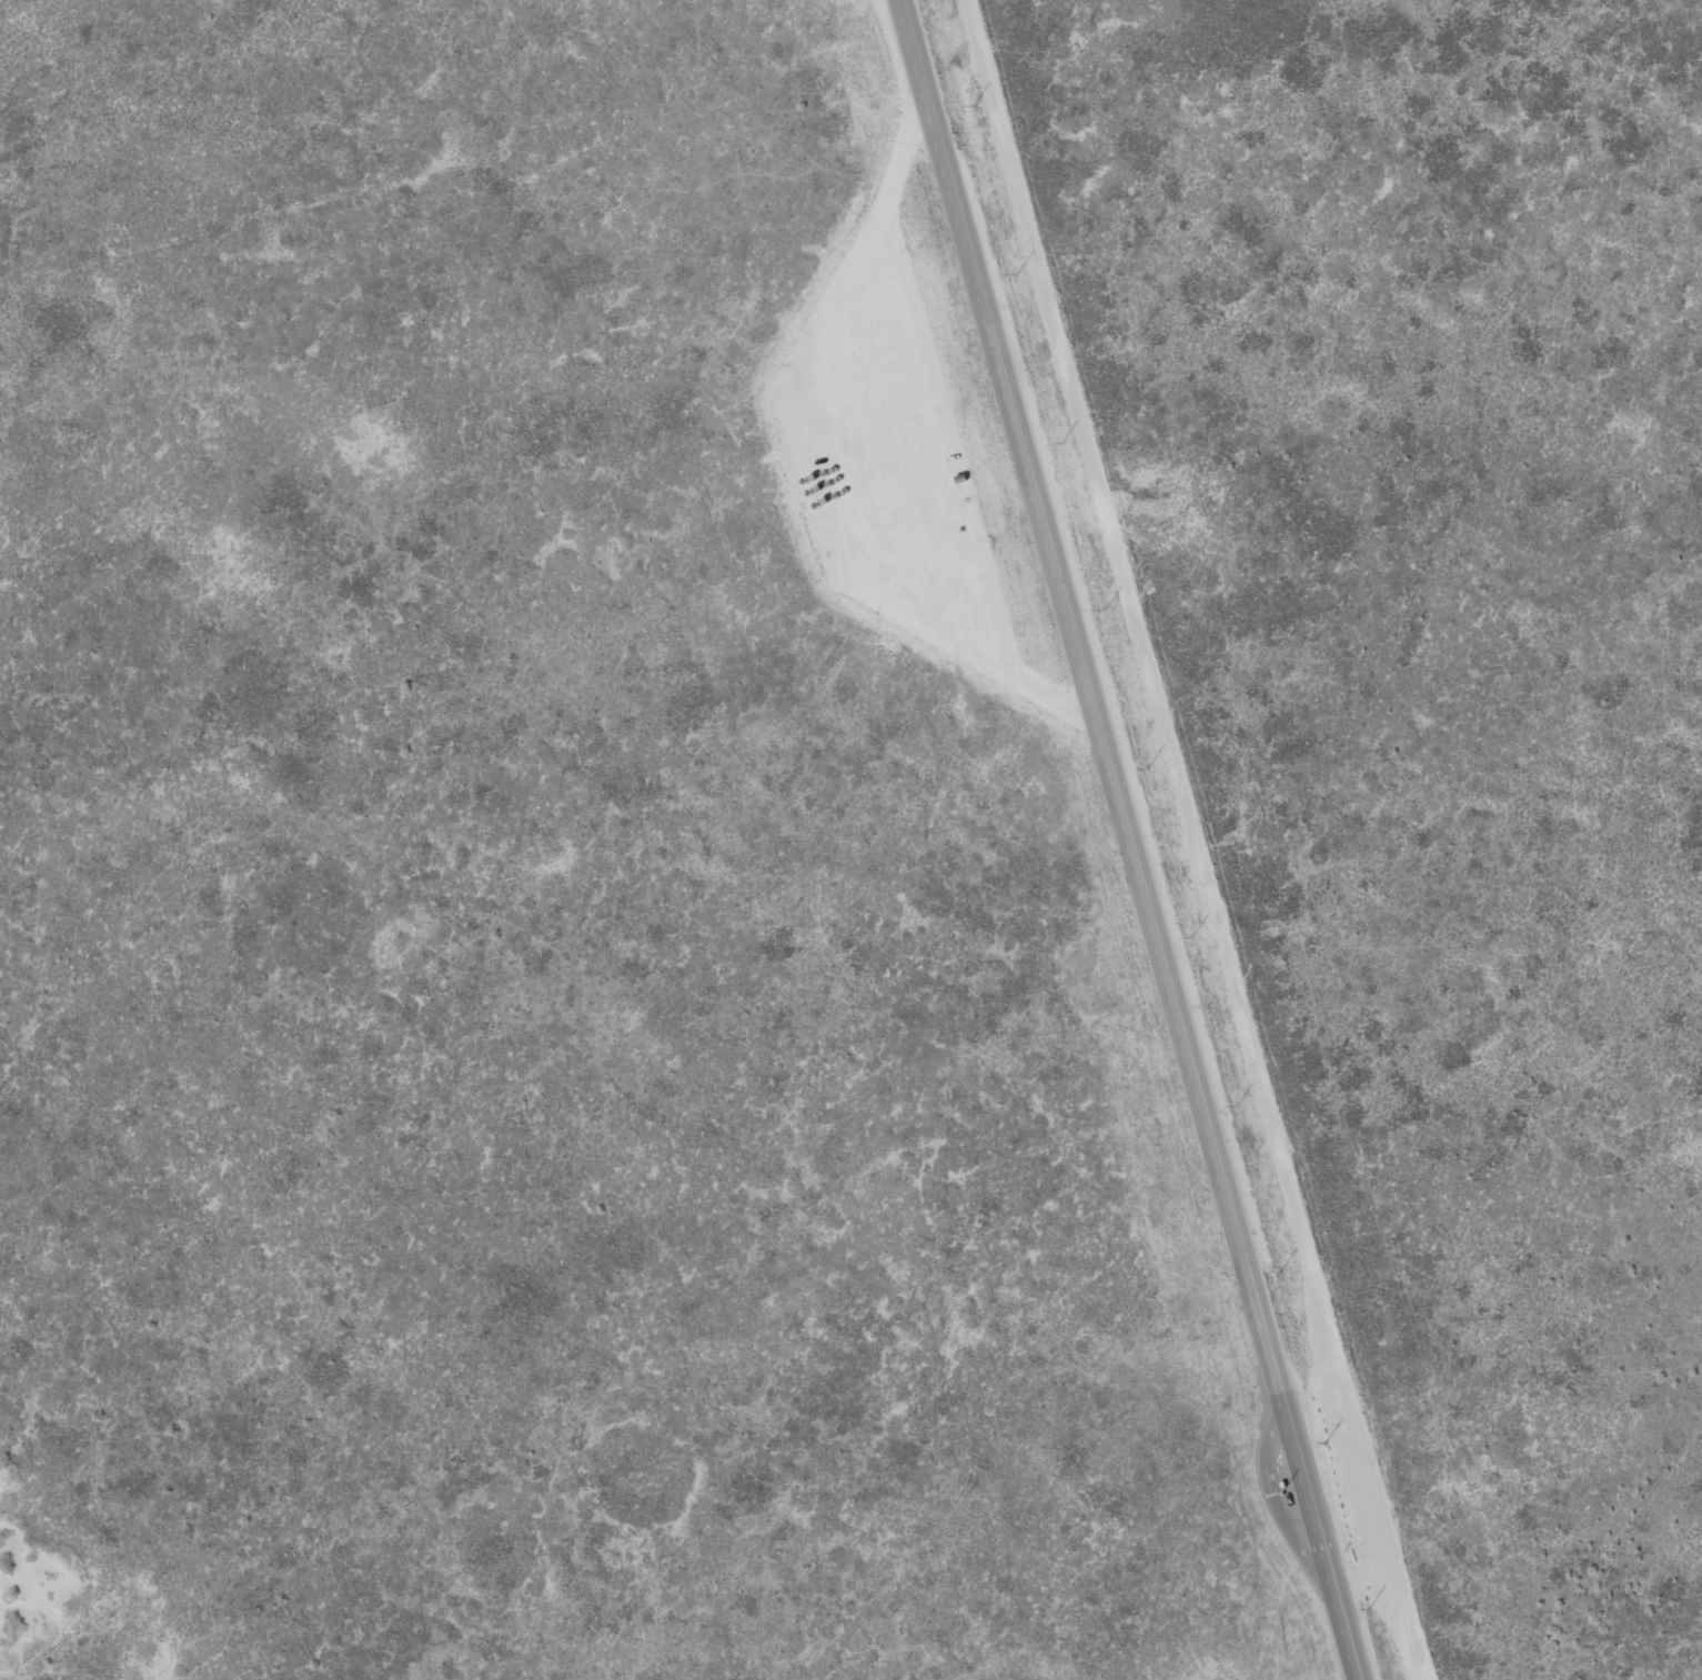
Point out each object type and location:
building: (971, 524)
road: (1218, 839)

